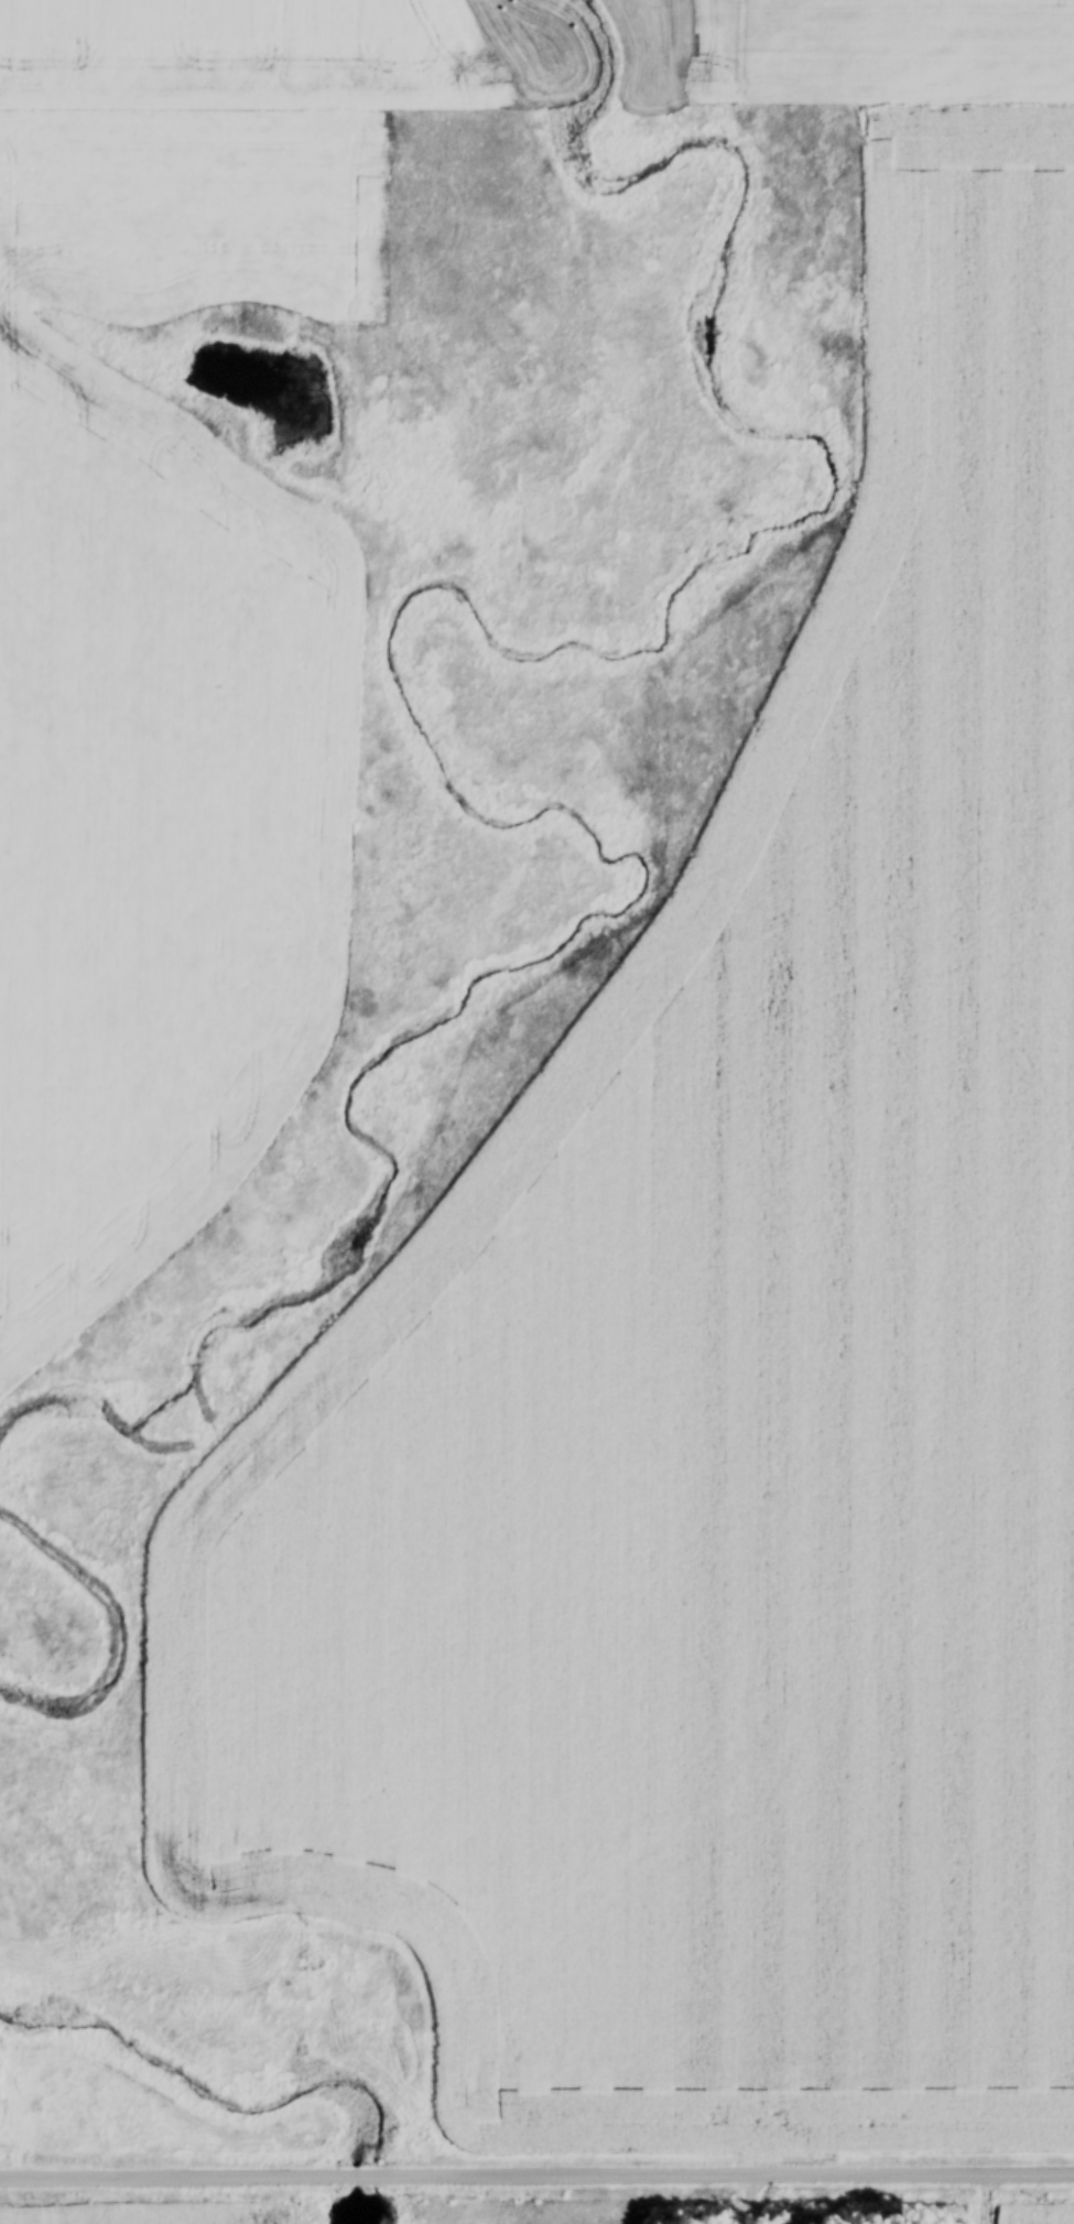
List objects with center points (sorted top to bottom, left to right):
road: (536, 2168)
road: (747, 2194)
crop: (1032, 2213)

